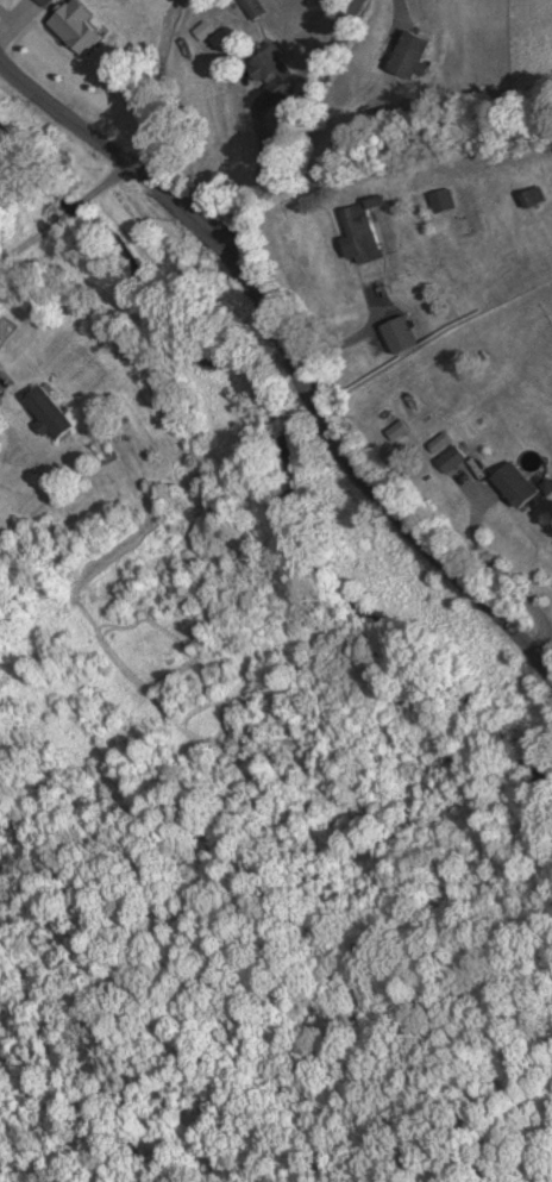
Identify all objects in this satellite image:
building: (40, 2)
building: (252, 10)
building: (73, 29)
building: (203, 33)
building: (408, 57)
building: (271, 71)
road: (306, 126)
building: (532, 199)
building: (358, 237)
building: (397, 337)
road: (289, 345)
building: (45, 412)
building: (439, 445)
building: (450, 461)
building: (514, 484)

